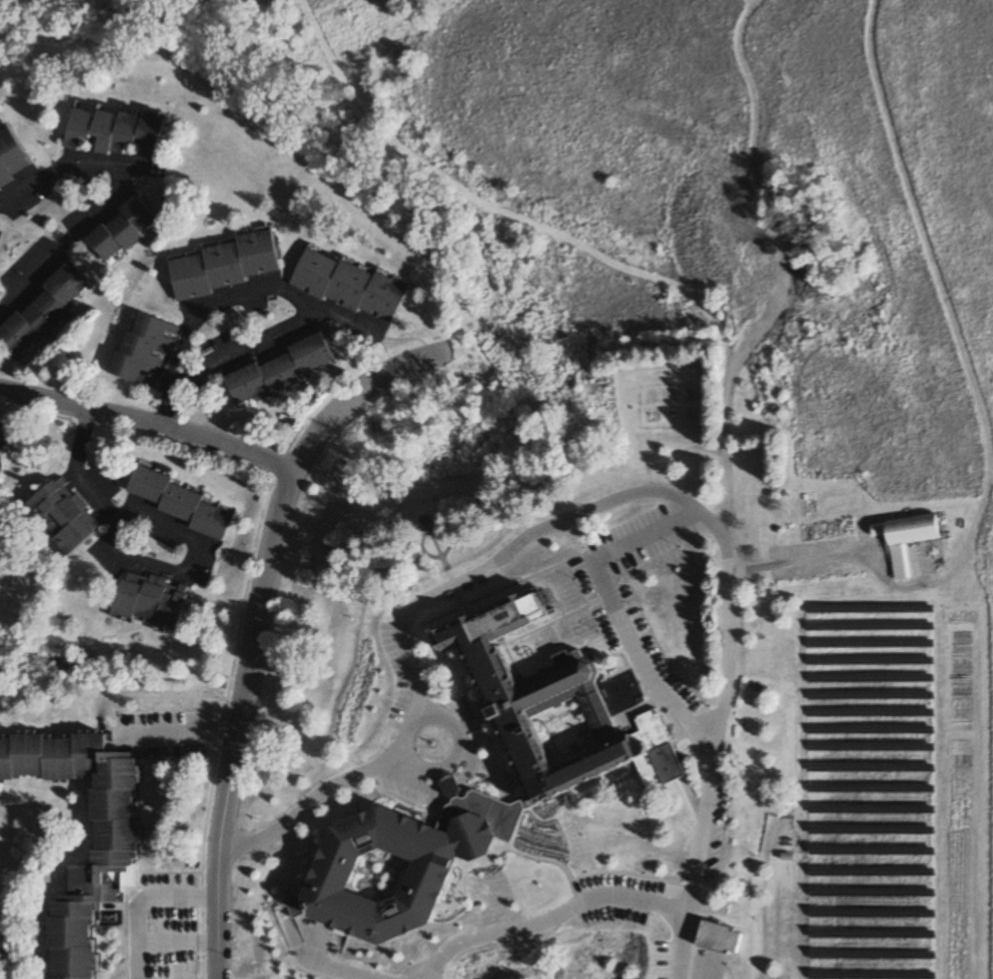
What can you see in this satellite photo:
building: (115, 129)
building: (11, 158)
road: (69, 161)
road: (59, 230)
building: (120, 230)
building: (222, 265)
building: (351, 285)
road: (262, 288)
building: (42, 309)
building: (143, 351)
building: (276, 370)
road: (349, 395)
road: (146, 424)
building: (2, 433)
building: (184, 504)
building: (63, 515)
road: (154, 529)
building: (906, 538)
road: (839, 556)
road: (431, 590)
building: (153, 601)
road: (614, 615)
road: (251, 659)
road: (722, 664)
building: (560, 691)
road: (187, 731)
road: (446, 756)
road: (324, 787)
solar farm: (864, 788)
building: (113, 823)
building: (404, 863)
building: (487, 883)
road: (138, 899)
road: (217, 915)
road: (543, 918)
building: (720, 938)
road: (330, 970)

